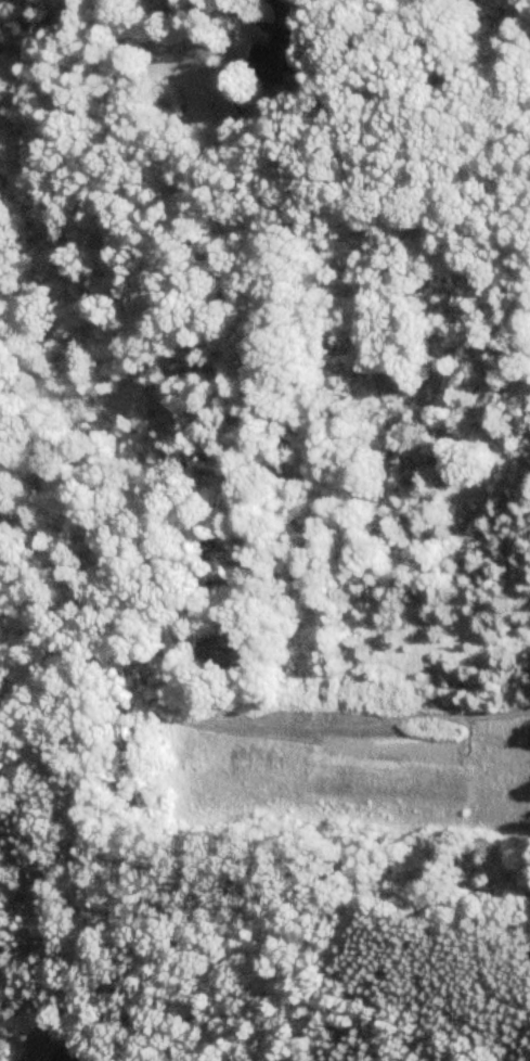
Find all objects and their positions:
road: (266, 8)
building: (275, 63)
building: (73, 1053)
road: (38, 1059)

